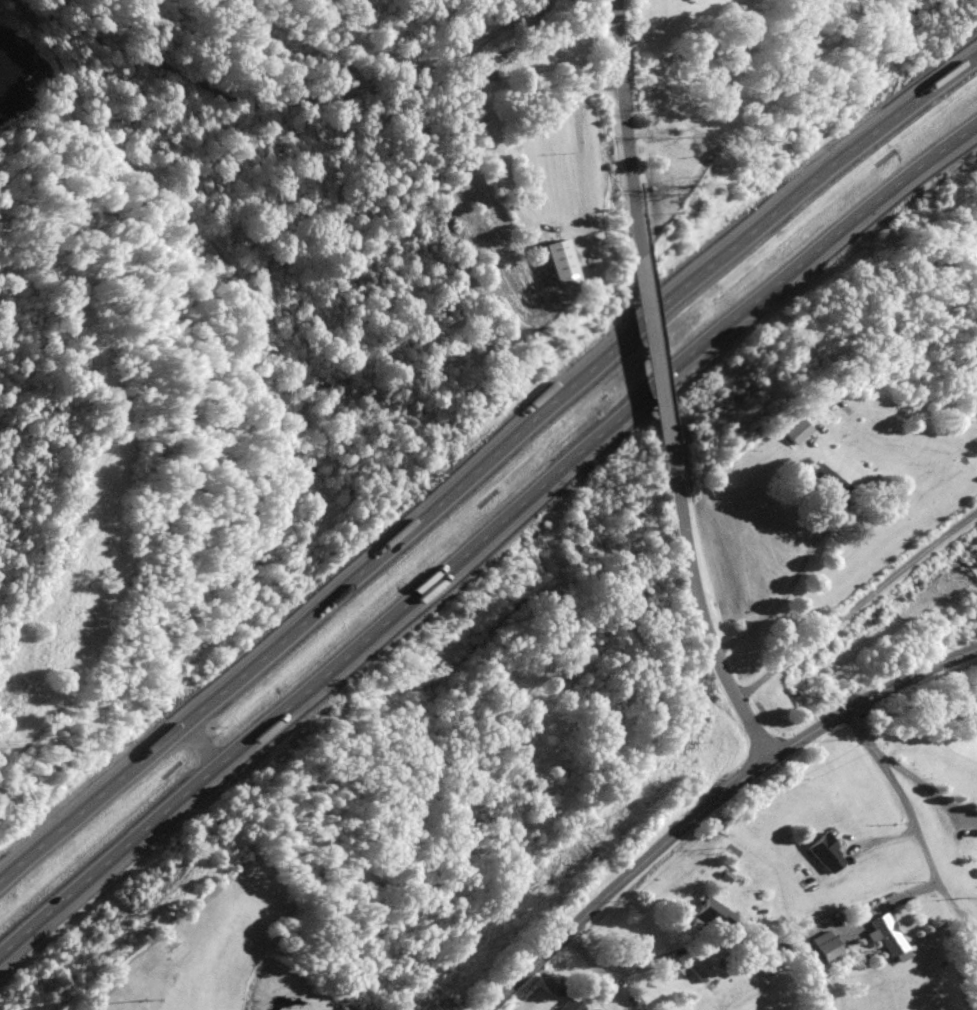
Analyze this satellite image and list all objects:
road: (310, 96)
road: (621, 111)
road: (828, 166)
road: (831, 244)
building: (562, 261)
road: (654, 315)
road: (655, 332)
road: (664, 385)
building: (790, 431)
building: (828, 482)
road: (787, 594)
road: (856, 602)
road: (701, 606)
road: (310, 612)
road: (318, 684)
road: (925, 789)
road: (898, 801)
road: (710, 802)
road: (879, 839)
building: (824, 851)
road: (891, 903)
road: (960, 910)
building: (720, 915)
building: (892, 933)
building: (832, 949)
road: (619, 967)
road: (549, 976)
building: (609, 987)
building: (574, 1004)

